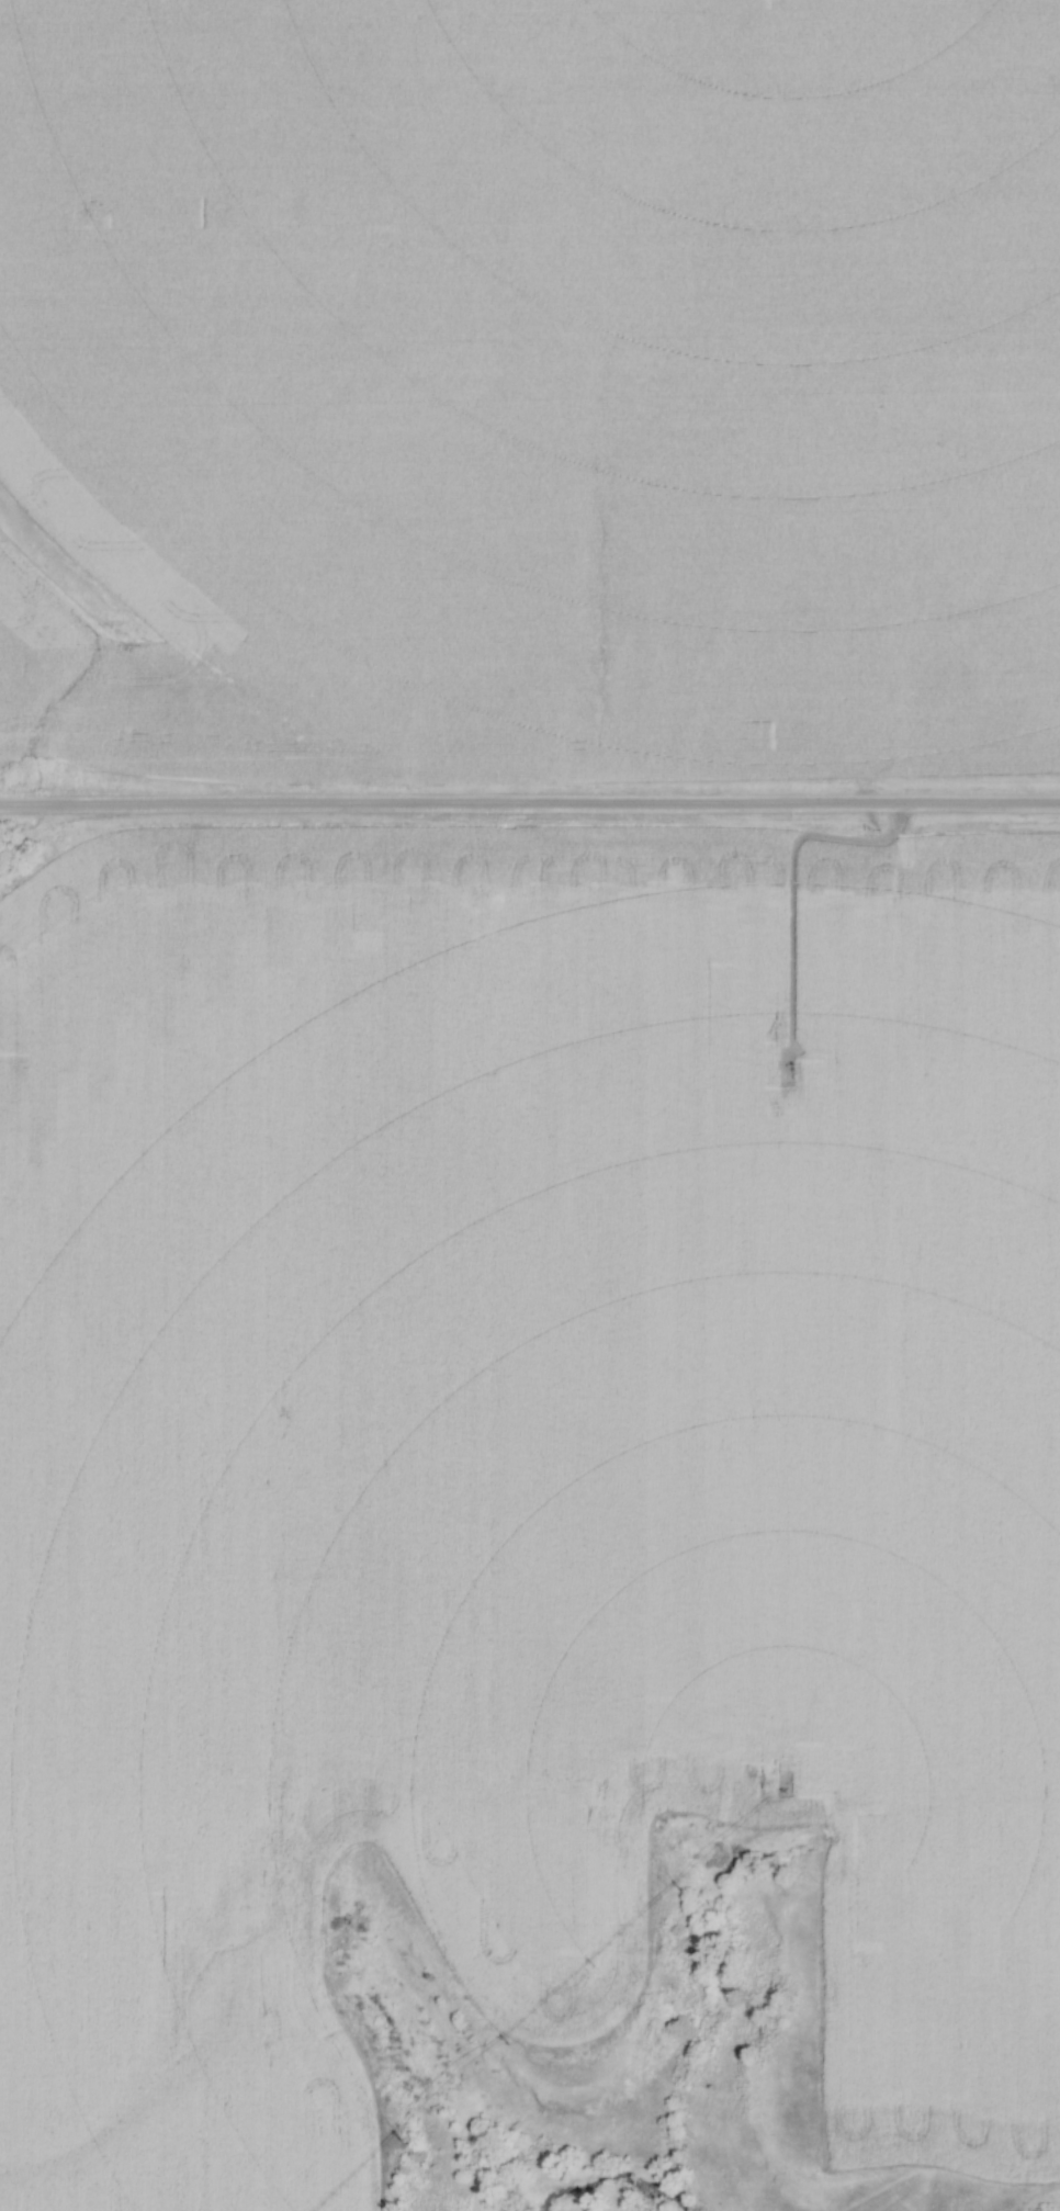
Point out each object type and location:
road: (530, 790)

